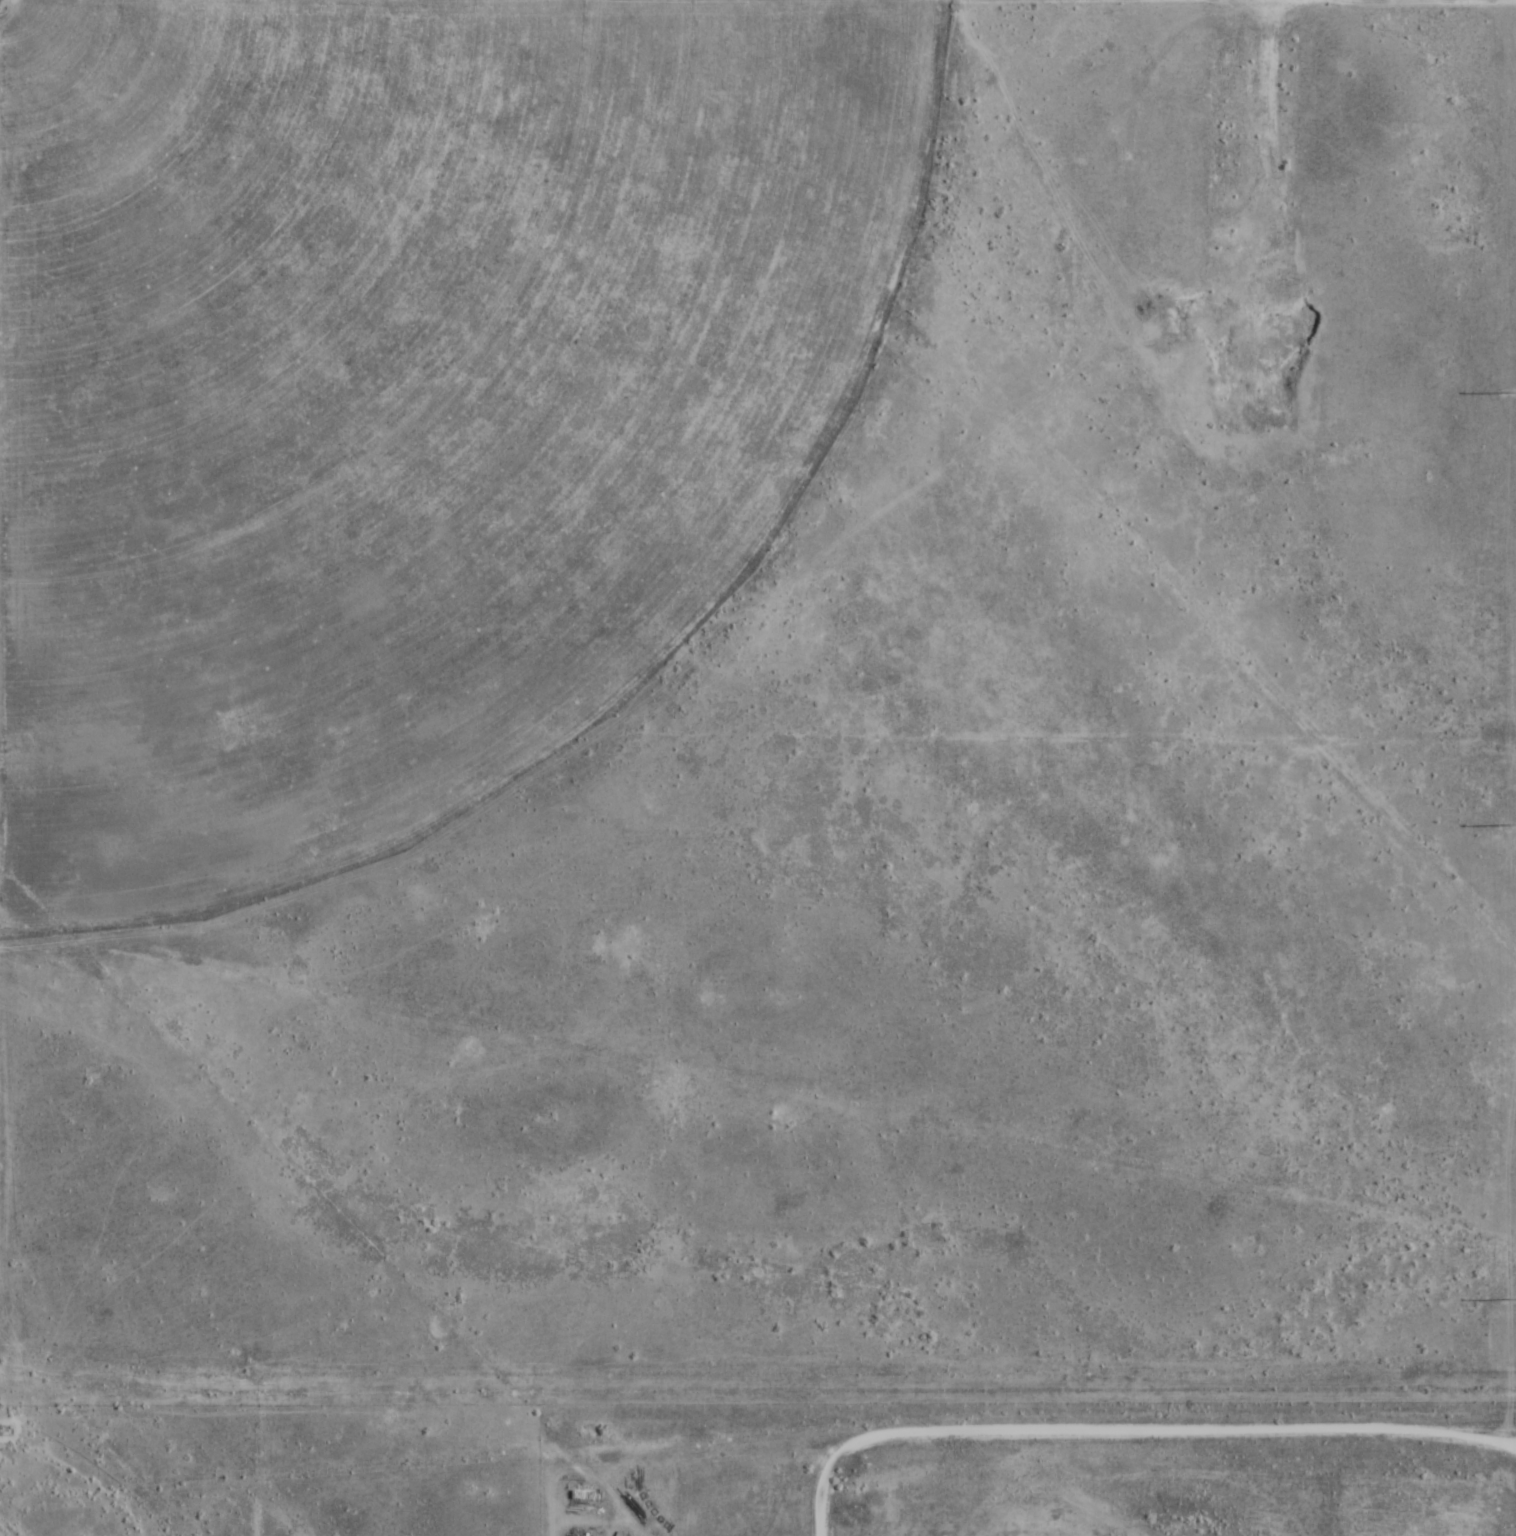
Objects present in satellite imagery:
power tower: (1505, 392)
power tower: (1507, 826)
power tower: (1506, 1299)

